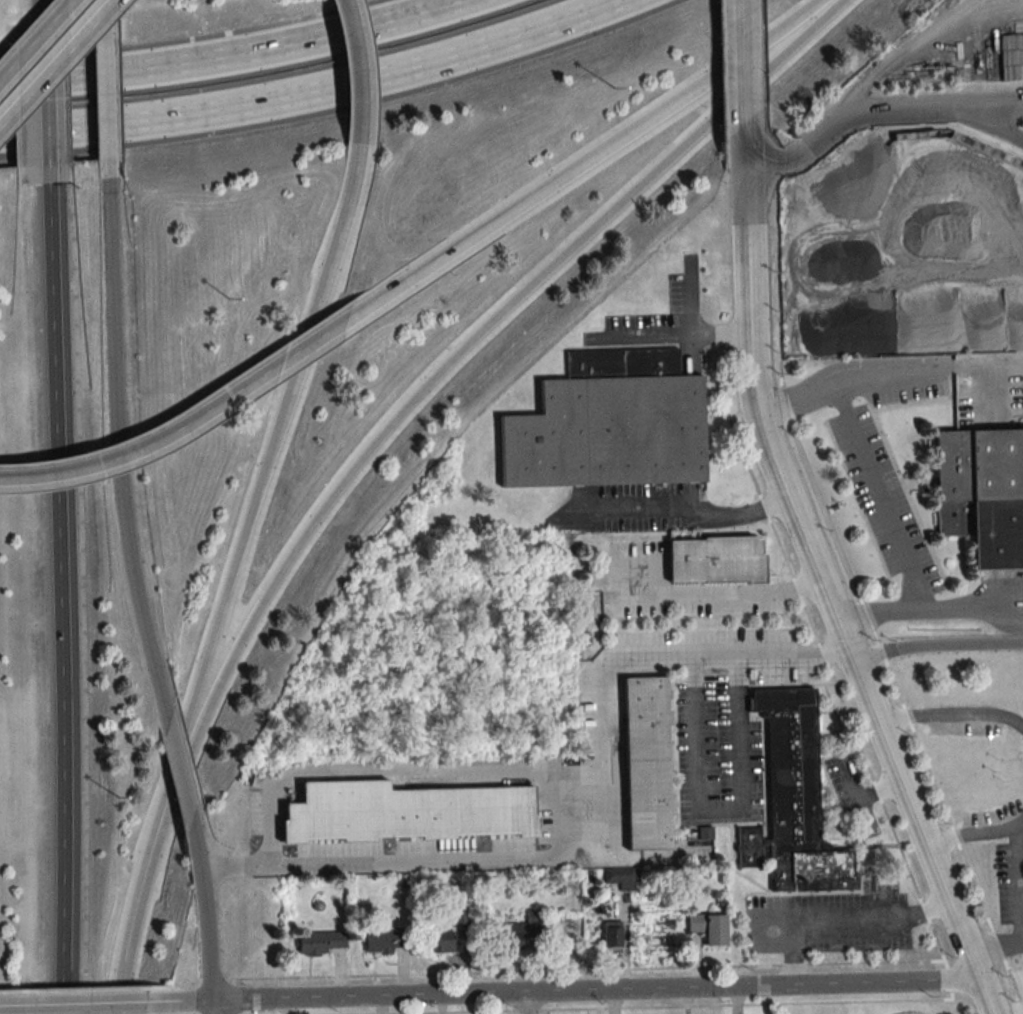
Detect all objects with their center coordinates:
road: (45, 9)
road: (103, 17)
road: (35, 37)
road: (232, 55)
road: (745, 61)
road: (56, 62)
road: (315, 91)
road: (359, 91)
road: (48, 101)
road: (107, 106)
road: (877, 108)
road: (596, 154)
road: (592, 230)
road: (333, 254)
parking lot: (660, 324)
road: (692, 333)
road: (927, 373)
road: (194, 415)
road: (281, 421)
building: (609, 425)
road: (119, 449)
building: (982, 496)
road: (880, 503)
road: (682, 509)
building: (716, 560)
road: (817, 579)
road: (740, 590)
road: (60, 598)
road: (259, 611)
road: (973, 618)
road: (217, 639)
road: (934, 648)
road: (624, 652)
road: (950, 717)
building: (646, 763)
road: (182, 782)
building: (793, 802)
road: (563, 806)
building: (405, 810)
road: (721, 812)
road: (975, 838)
building: (619, 877)
road: (912, 881)
road: (148, 886)
road: (1020, 910)
road: (206, 924)
road: (853, 925)
building: (709, 927)
building: (521, 931)
building: (612, 936)
building: (385, 939)
building: (320, 941)
building: (442, 941)
road: (792, 956)
road: (754, 986)
road: (337, 996)
road: (73, 1002)
road: (527, 1002)
road: (214, 1007)
road: (545, 1012)

